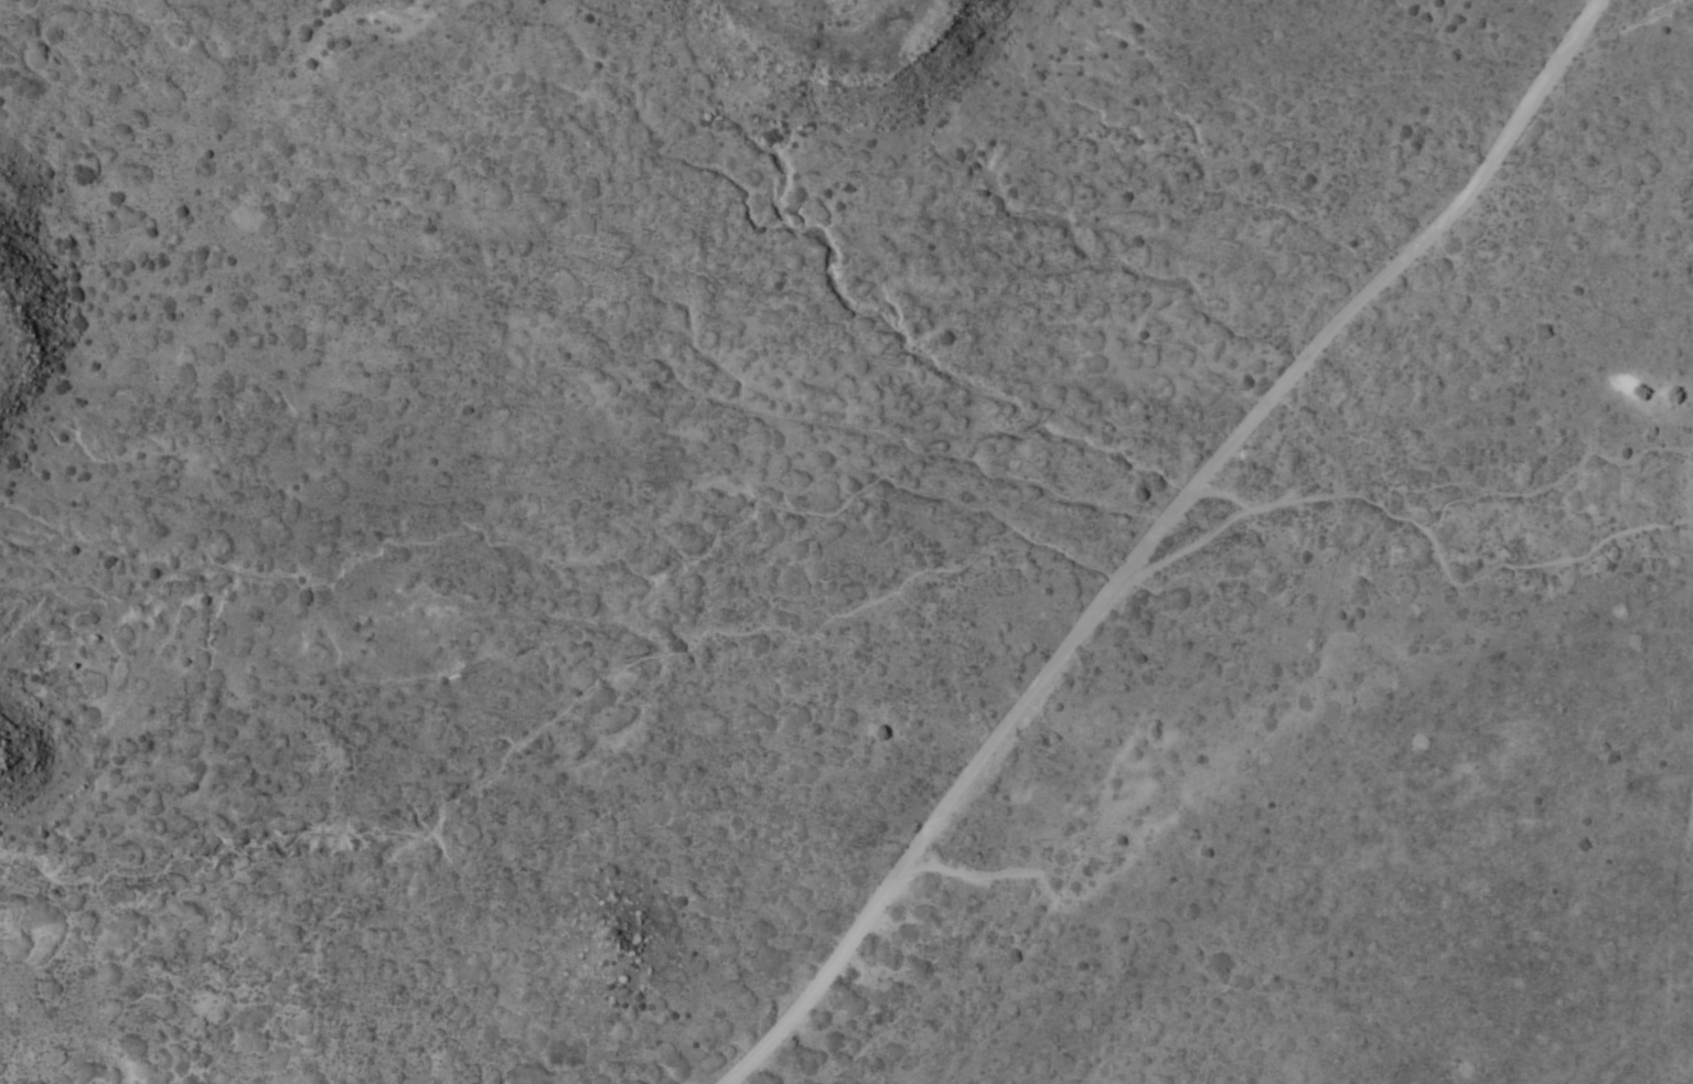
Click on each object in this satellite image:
road: (1155, 536)

